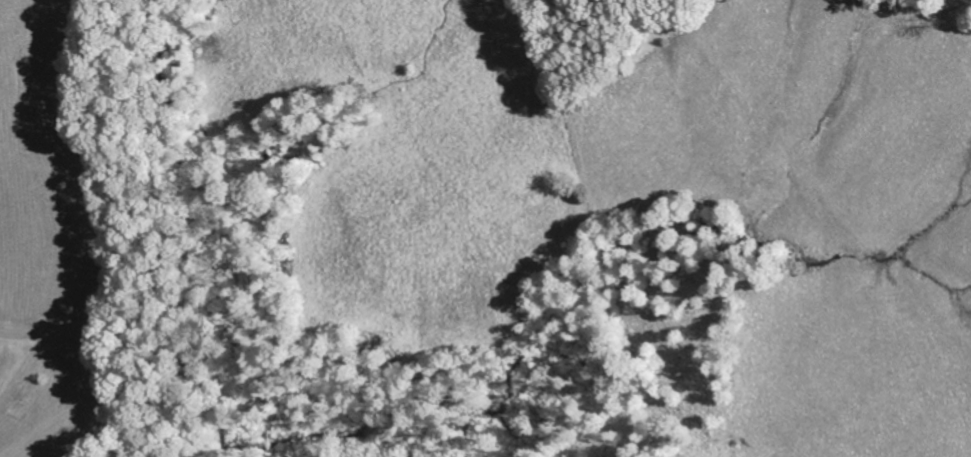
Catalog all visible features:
road: (795, 153)

